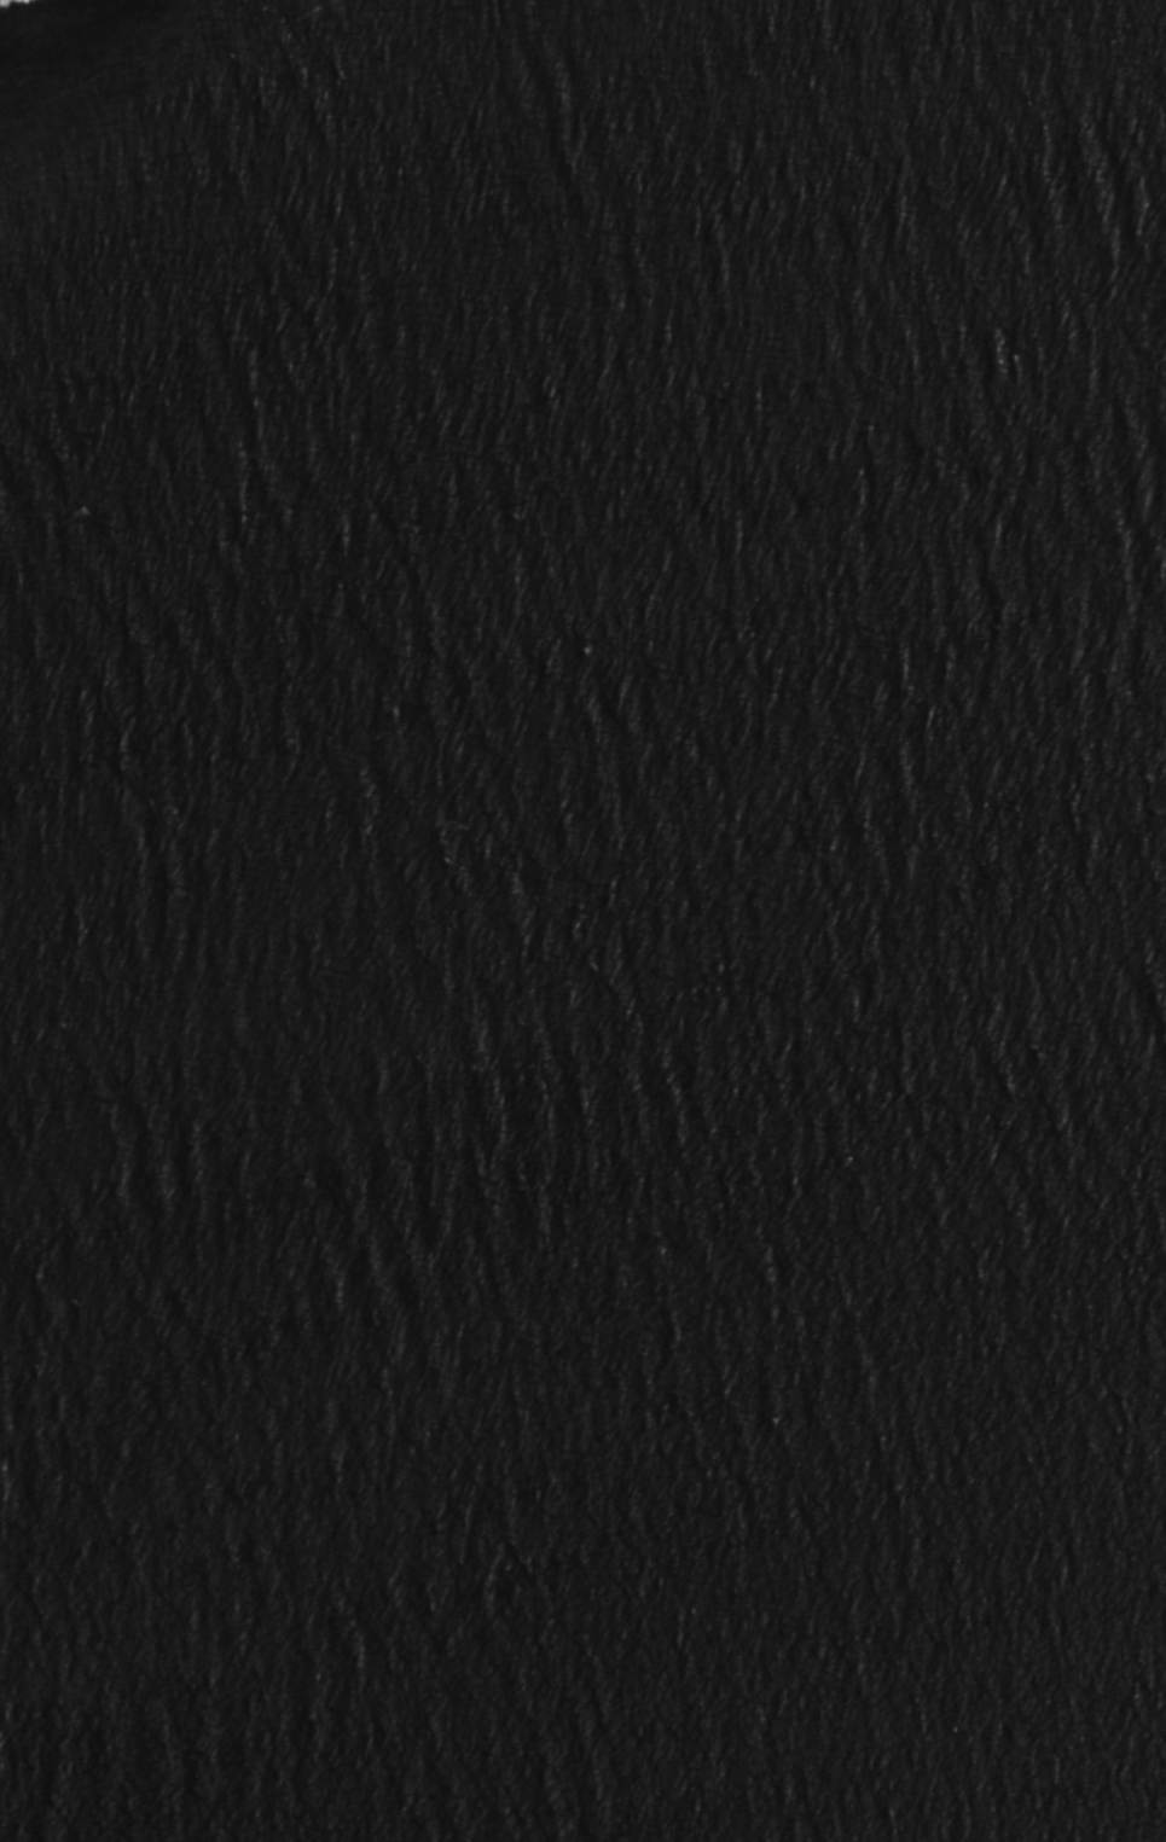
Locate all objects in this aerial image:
river: (582, 1690)

